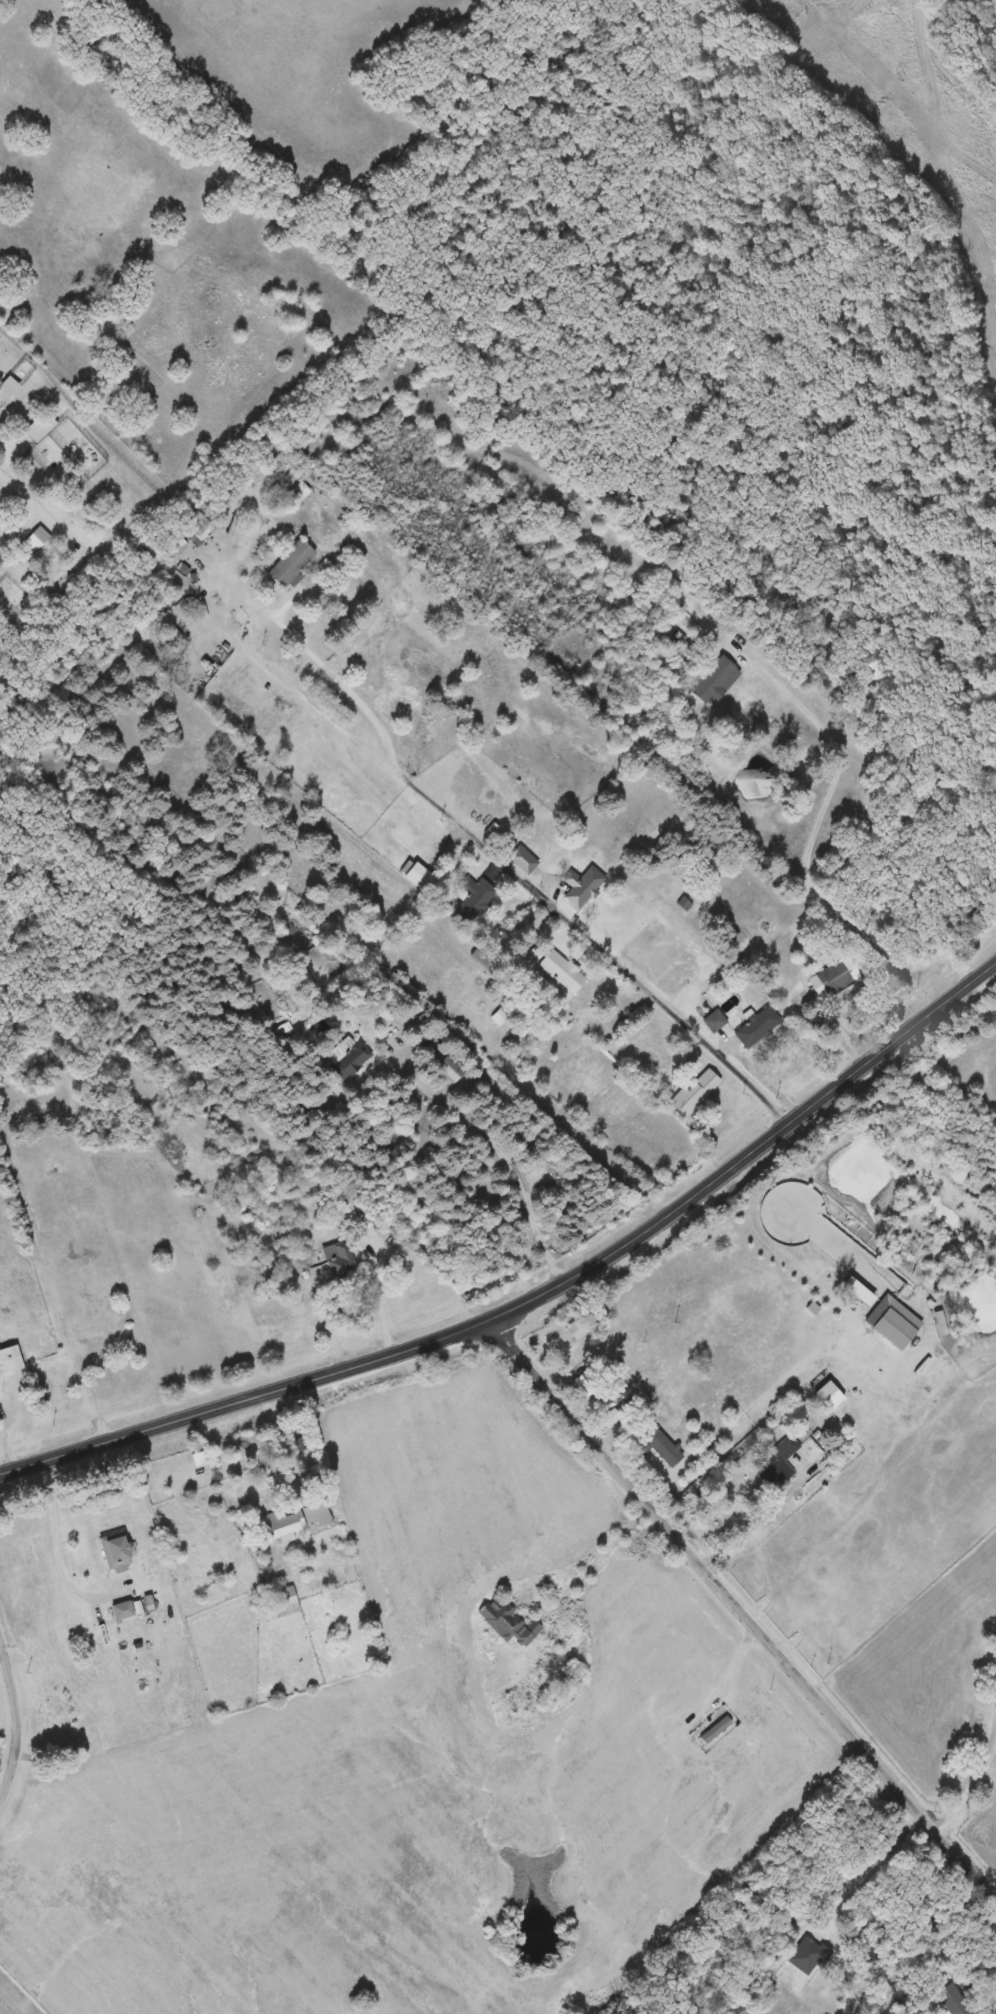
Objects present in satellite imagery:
building: (176, 549)
building: (291, 564)
building: (855, 778)
road: (813, 856)
building: (523, 860)
road: (512, 868)
building: (418, 877)
building: (582, 886)
building: (473, 898)
building: (562, 971)
building: (835, 977)
building: (715, 1021)
building: (758, 1027)
road: (838, 1029)
building: (352, 1060)
building: (446, 1065)
road: (770, 1084)
building: (695, 1091)
road: (503, 1145)
building: (343, 1261)
road: (379, 1294)
road: (537, 1297)
building: (278, 1312)
building: (892, 1322)
road: (359, 1324)
building: (576, 1329)
road: (333, 1332)
building: (11, 1360)
building: (588, 1386)
road: (7, 1440)
building: (656, 1440)
road: (287, 1445)
building: (779, 1461)
road: (763, 1509)
building: (293, 1522)
building: (116, 1551)
road: (61, 1554)
road: (597, 1556)
building: (280, 1603)
building: (124, 1611)
road: (741, 1611)
building: (510, 1622)
road: (2, 1656)
road: (728, 1662)
building: (522, 1700)
road: (15, 1718)
building: (716, 1730)
road: (972, 1786)
road: (87, 1808)
road: (904, 1951)
building: (865, 1952)
road: (9, 2004)
road: (995, 2013)

